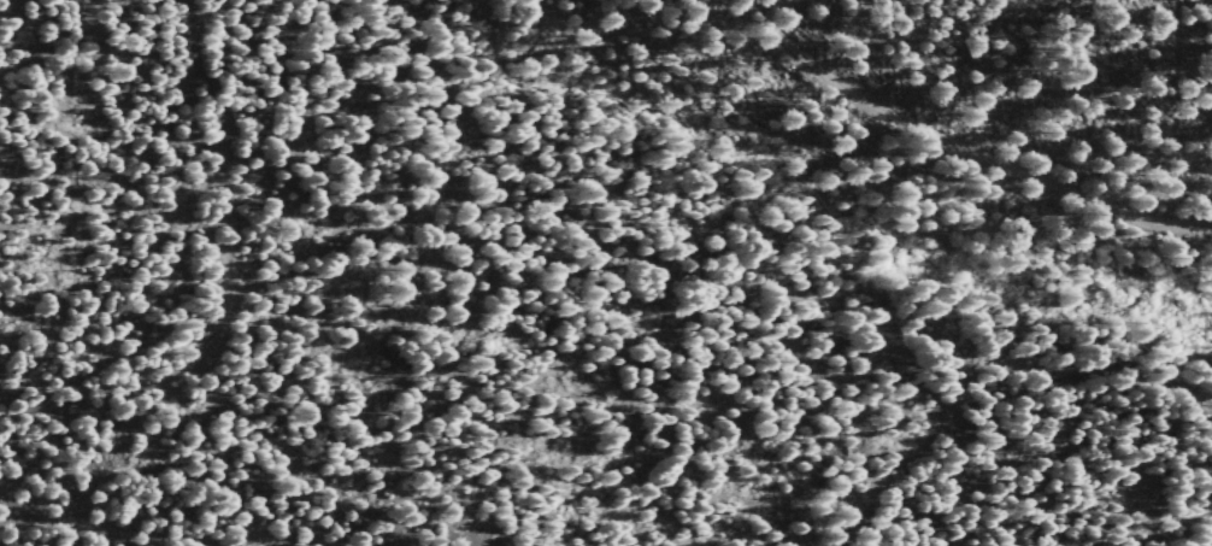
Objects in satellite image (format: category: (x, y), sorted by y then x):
road: (960, 146)

